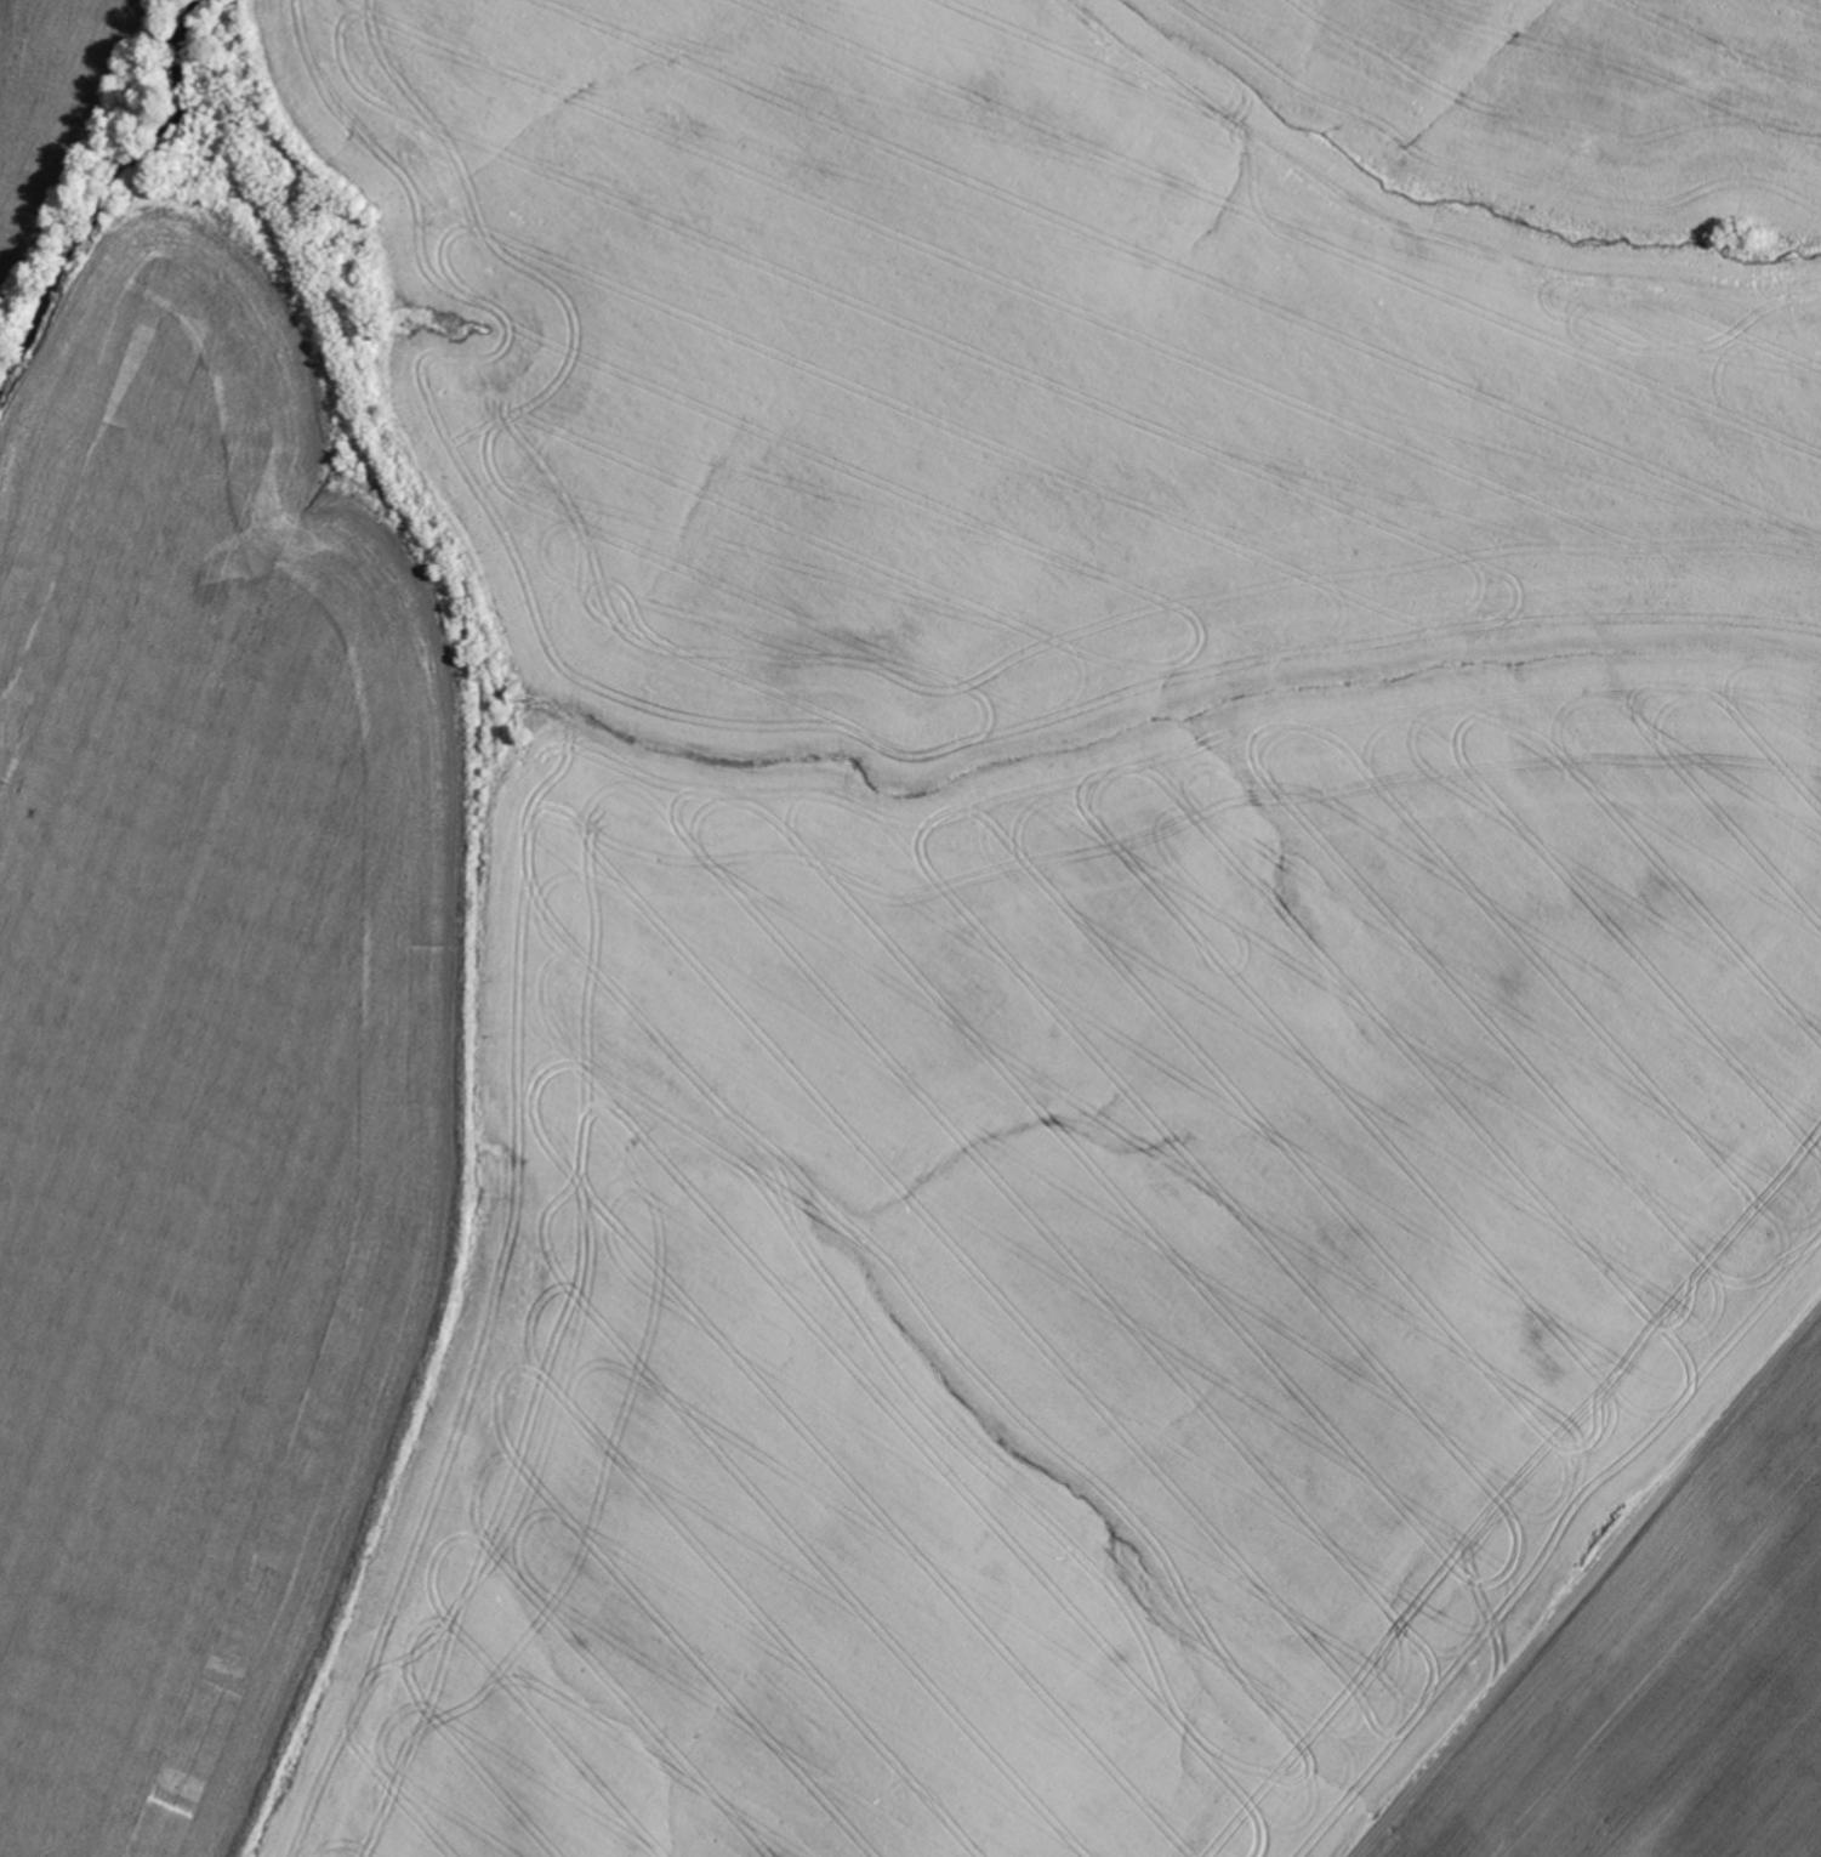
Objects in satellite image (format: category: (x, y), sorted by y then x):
road: (1587, 1580)

